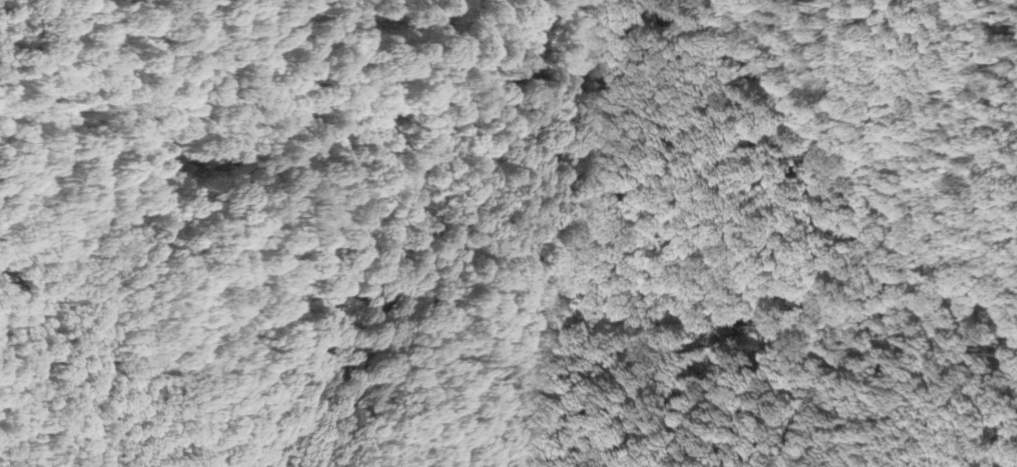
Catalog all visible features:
road: (939, 224)

